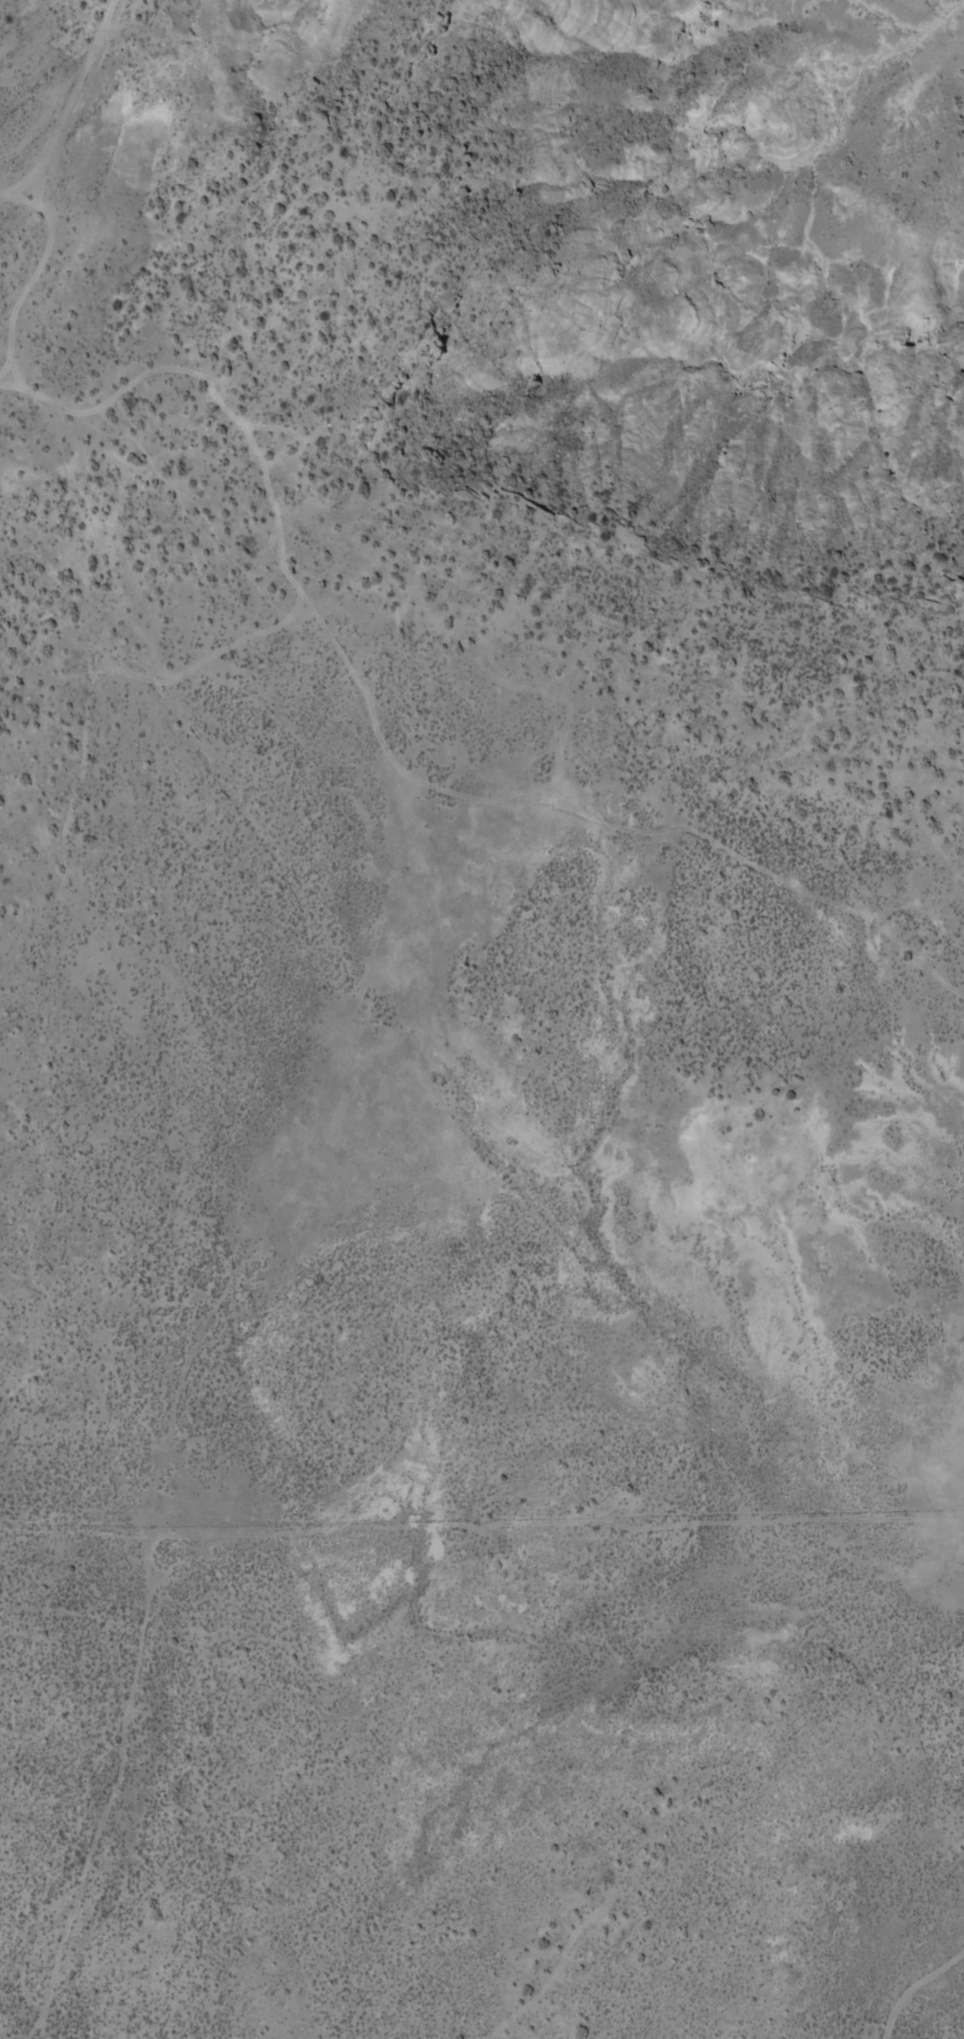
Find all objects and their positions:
road: (23, 94)
road: (68, 113)
road: (5, 194)

